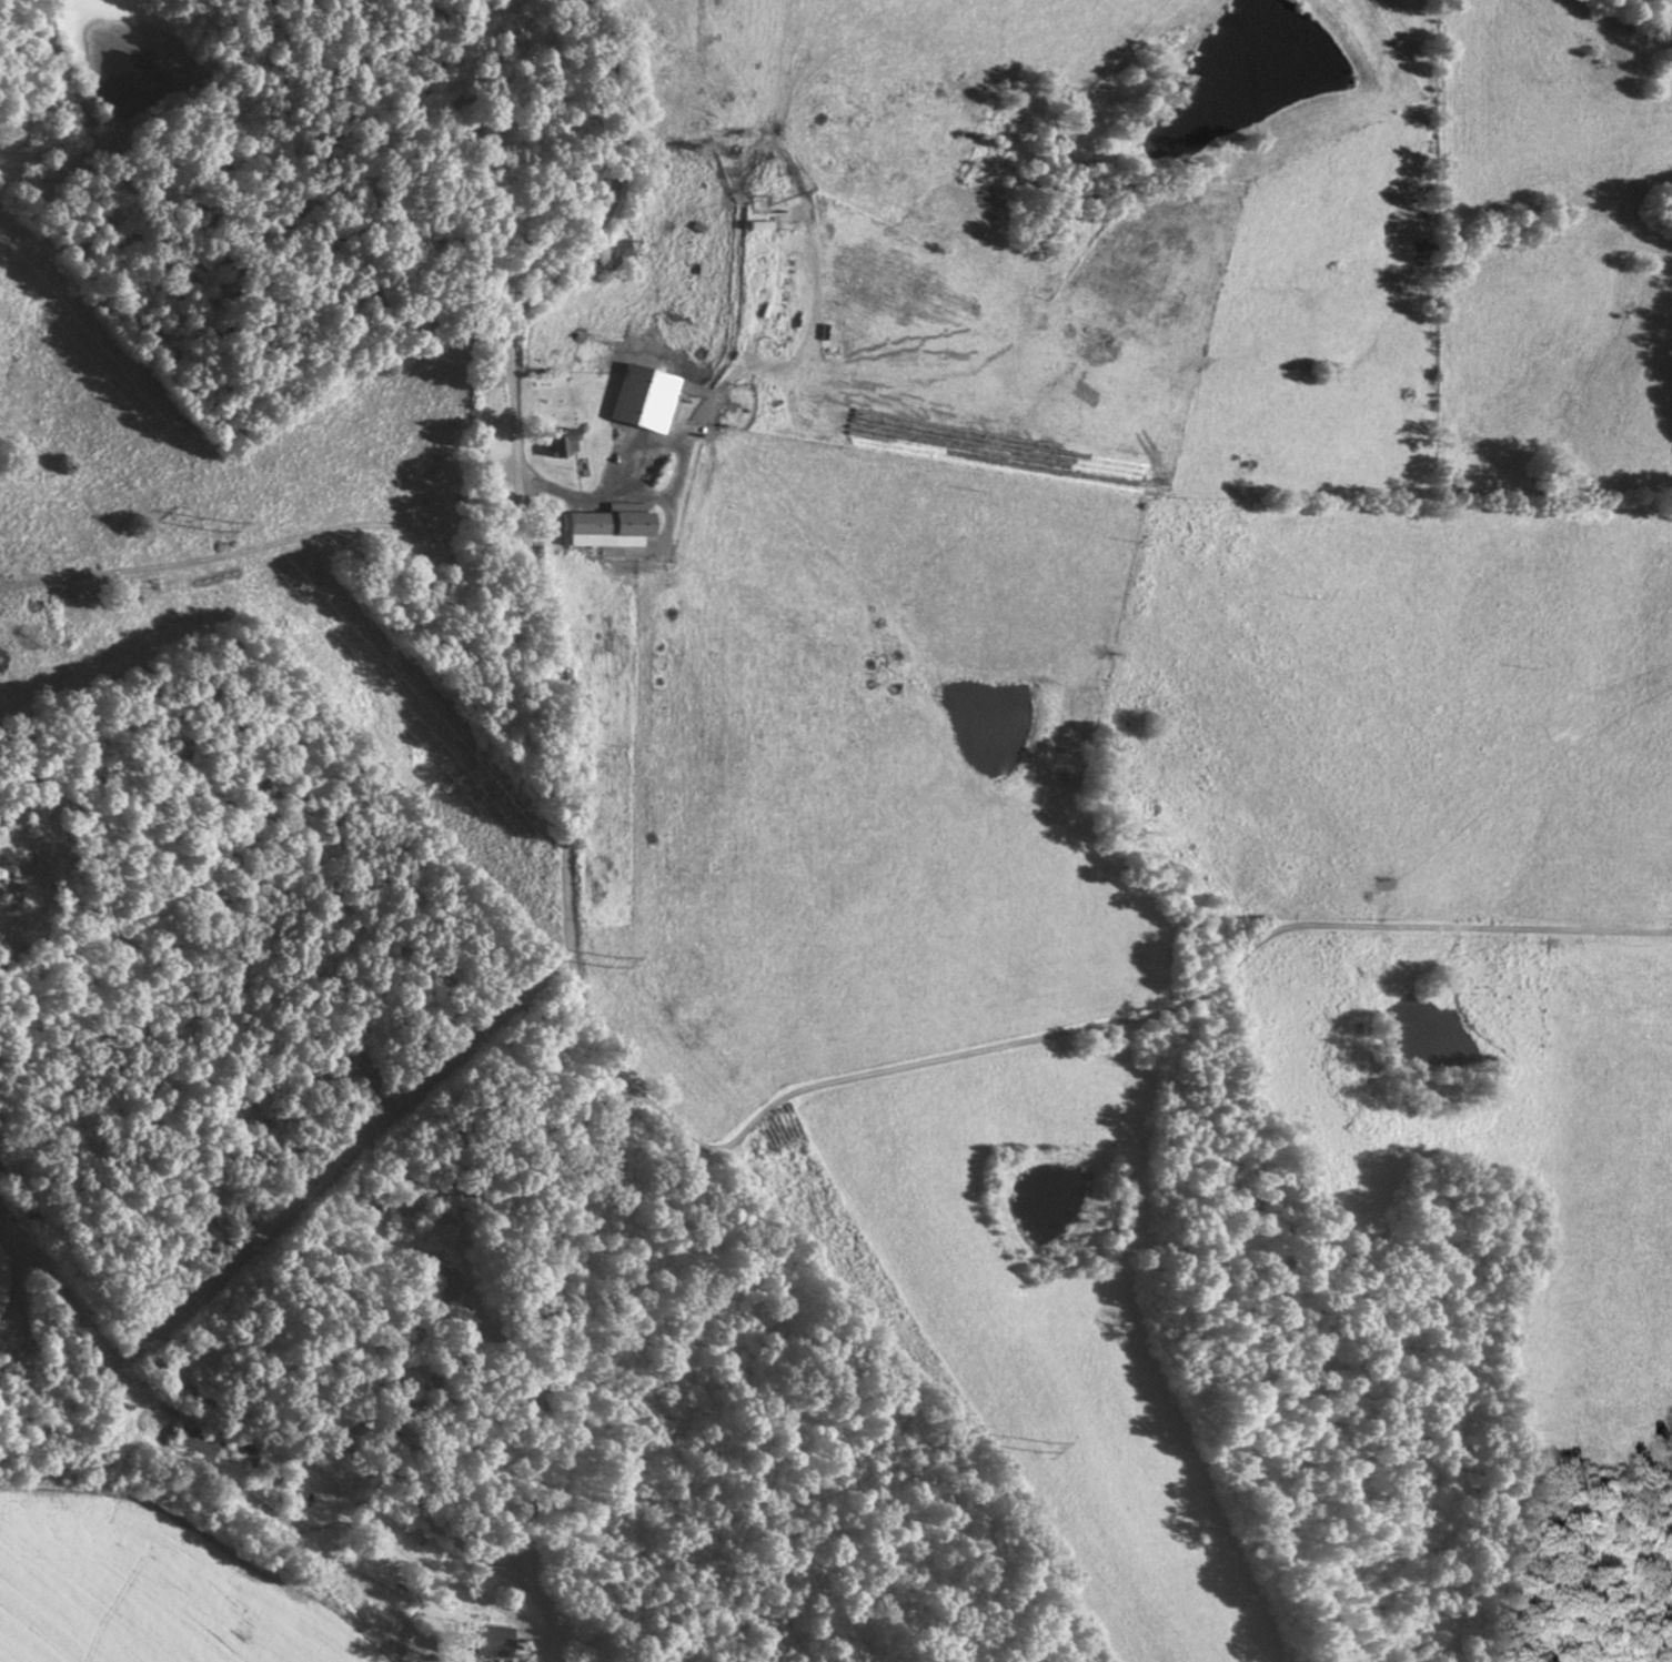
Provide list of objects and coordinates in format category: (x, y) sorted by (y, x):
building: (620, 249)
building: (564, 442)
power tower: (225, 523)
building: (611, 525)
road: (281, 550)
road: (551, 779)
power tower: (611, 958)
road: (1079, 1028)
building: (443, 1278)
road: (238, 1406)
power tower: (1041, 1441)
building: (218, 1446)
road: (538, 1600)
road: (586, 1634)
road: (553, 1636)
building: (490, 1639)

